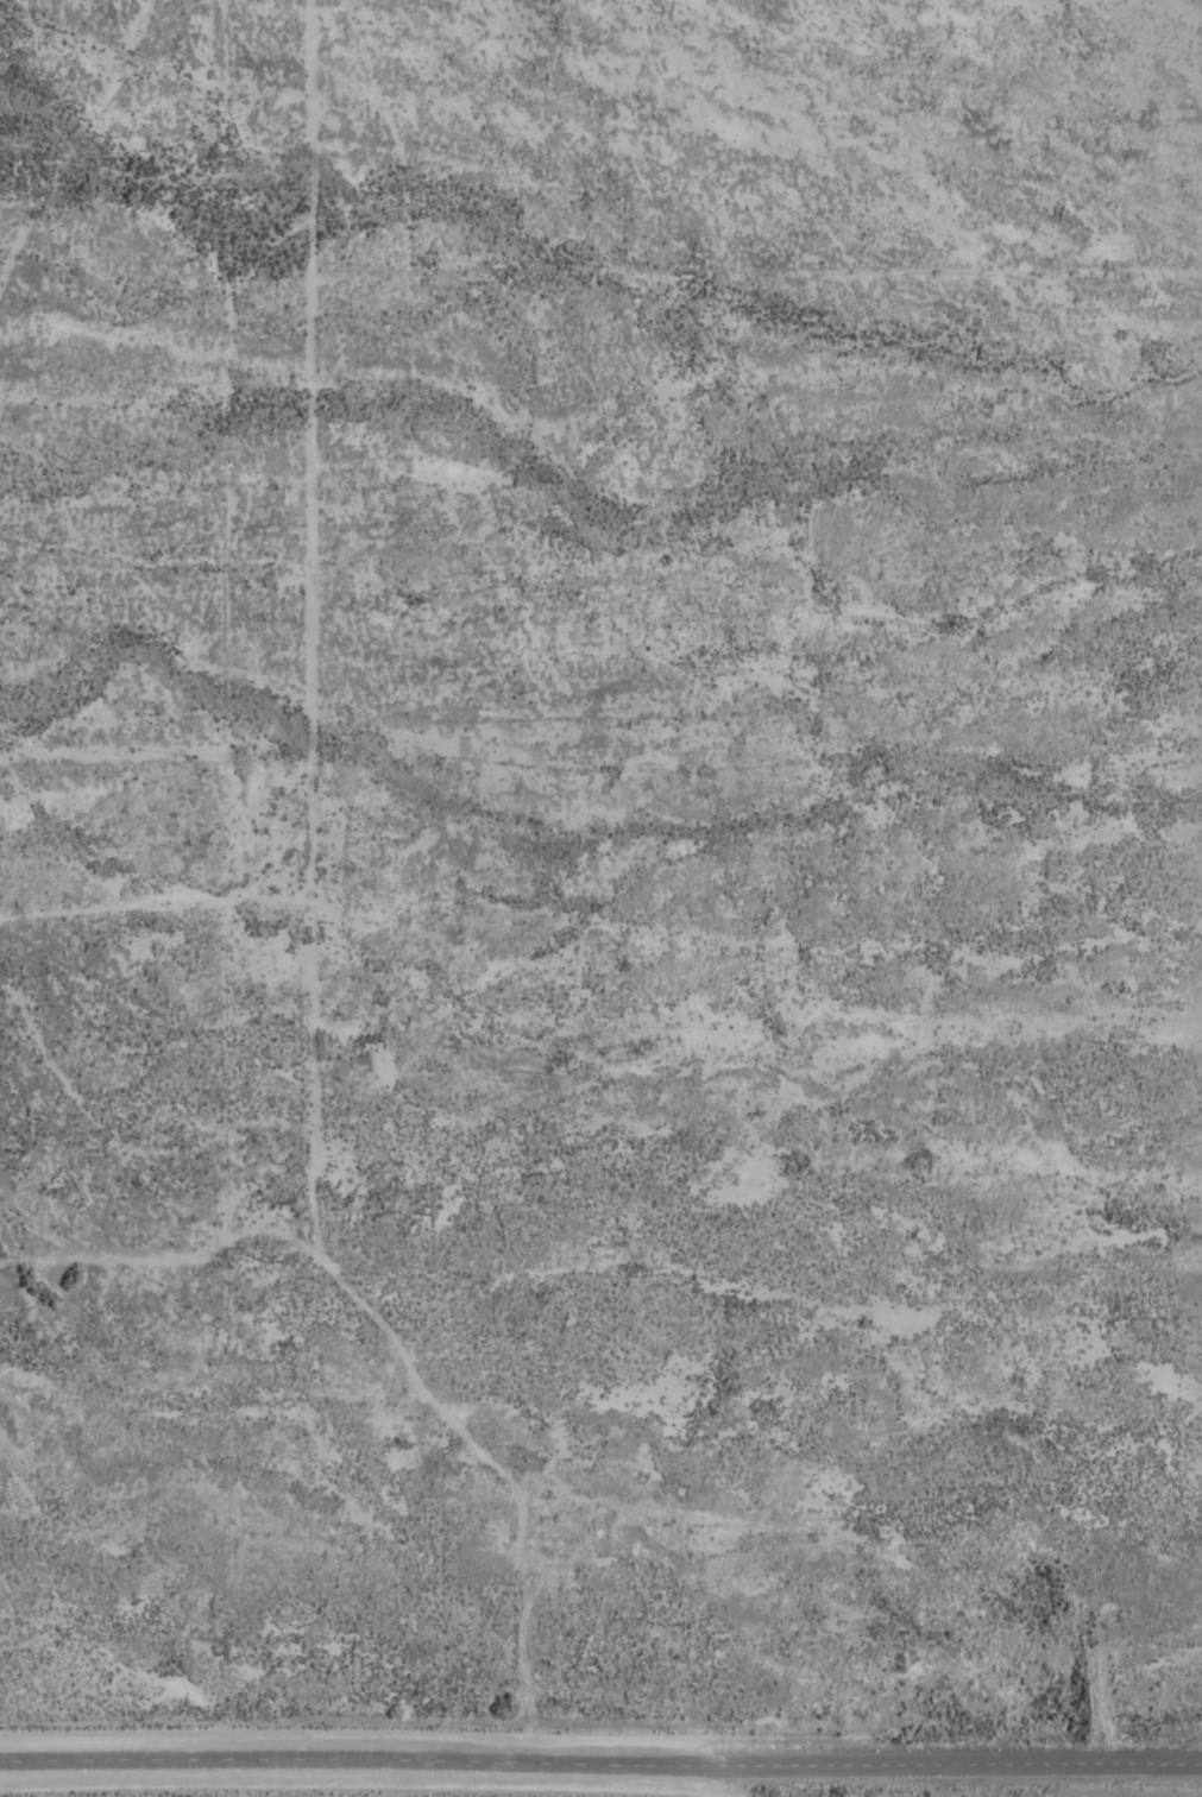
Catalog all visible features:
road: (600, 1764)

